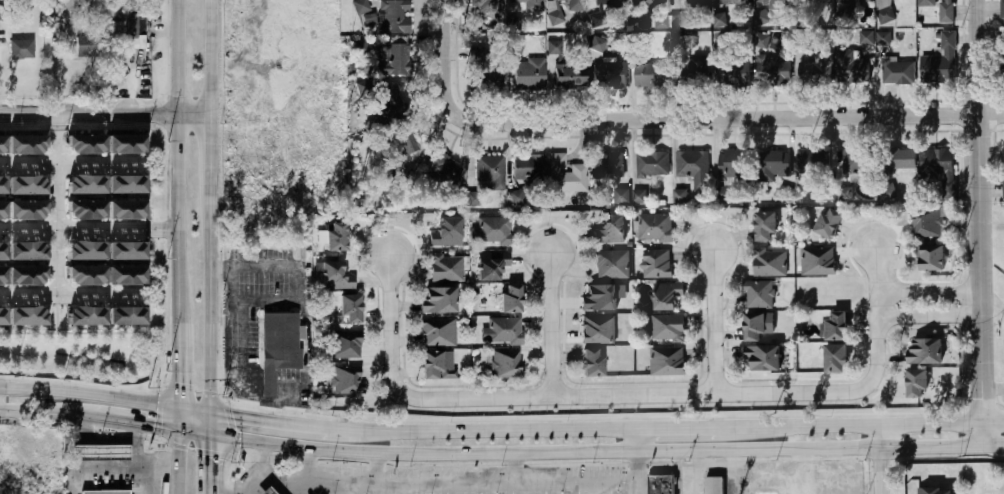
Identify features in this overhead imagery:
building: (645, 1)
building: (854, 1)
building: (609, 2)
building: (729, 2)
building: (772, 2)
building: (814, 2)
building: (529, 4)
building: (697, 4)
building: (487, 5)
building: (569, 5)
building: (361, 6)
building: (1002, 8)
building: (940, 9)
building: (884, 11)
building: (391, 17)
building: (763, 17)
road: (445, 18)
building: (720, 20)
building: (678, 21)
building: (514, 22)
building: (131, 32)
building: (867, 37)
building: (883, 38)
building: (596, 45)
building: (85, 46)
building: (555, 46)
building: (21, 49)
road: (210, 56)
building: (1002, 56)
building: (388, 60)
building: (940, 62)
building: (486, 66)
building: (696, 69)
building: (774, 71)
building: (855, 71)
building: (733, 72)
building: (898, 72)
building: (611, 74)
building: (823, 74)
building: (651, 75)
building: (529, 76)
building: (570, 76)
building: (364, 89)
building: (391, 102)
road: (105, 112)
road: (689, 119)
road: (54, 121)
building: (401, 140)
building: (2, 143)
building: (26, 143)
building: (127, 143)
building: (88, 144)
road: (209, 153)
building: (897, 159)
building: (812, 161)
building: (856, 162)
road: (68, 164)
building: (652, 164)
building: (612, 165)
road: (177, 166)
building: (734, 166)
building: (776, 166)
building: (692, 167)
building: (528, 168)
building: (490, 169)
building: (939, 169)
building: (443, 170)
building: (1003, 172)
building: (401, 174)
building: (560, 175)
building: (128, 183)
building: (3, 184)
building: (86, 184)
building: (29, 185)
building: (846, 193)
building: (887, 193)
building: (637, 195)
building: (517, 197)
building: (620, 197)
building: (679, 197)
building: (3, 209)
building: (27, 209)
building: (86, 209)
building: (128, 209)
road: (54, 213)
building: (829, 222)
building: (927, 222)
road: (981, 223)
building: (765, 226)
building: (654, 228)
building: (610, 229)
road: (72, 230)
road: (161, 230)
building: (492, 230)
building: (446, 233)
building: (337, 237)
building: (3, 250)
building: (27, 250)
building: (88, 250)
building: (129, 251)
building: (932, 257)
building: (817, 261)
building: (769, 263)
building: (492, 264)
building: (655, 264)
building: (611, 265)
building: (446, 268)
building: (3, 275)
building: (27, 275)
building: (87, 275)
building: (129, 275)
building: (336, 276)
building: (758, 294)
building: (667, 295)
road: (929, 295)
road: (68, 297)
building: (601, 297)
building: (511, 299)
building: (439, 300)
road: (208, 303)
building: (350, 308)
road: (876, 314)
building: (27, 315)
road: (57, 315)
building: (87, 315)
building: (126, 315)
building: (3, 316)
road: (929, 317)
road: (233, 322)
road: (714, 323)
road: (550, 324)
building: (837, 326)
building: (755, 327)
building: (667, 328)
building: (598, 330)
building: (504, 331)
building: (437, 332)
building: (278, 340)
building: (343, 346)
building: (925, 352)
road: (144, 357)
building: (763, 357)
building: (836, 359)
building: (592, 362)
building: (667, 362)
building: (506, 364)
building: (435, 366)
road: (178, 369)
building: (346, 380)
building: (267, 381)
building: (917, 384)
traffic signals: (179, 385)
road: (993, 390)
road: (4, 391)
road: (246, 395)
road: (94, 396)
road: (564, 397)
road: (282, 402)
road: (4, 407)
road: (39, 412)
traffic signals: (230, 416)
road: (178, 418)
road: (139, 423)
road: (207, 423)
road: (290, 423)
road: (882, 424)
traffic signals: (165, 427)
road: (698, 427)
road: (518, 428)
road: (635, 439)
road: (84, 442)
road: (108, 444)
road: (133, 445)
traffic signals: (207, 449)
road: (605, 451)
building: (98, 453)
gas station: (98, 453)
road: (881, 459)
road: (262, 460)
road: (178, 461)
road: (762, 463)
road: (800, 463)
road: (833, 463)
road: (207, 464)
road: (130, 468)
road: (376, 468)
road: (709, 468)
road: (300, 470)
road: (636, 472)
road: (678, 472)
road: (810, 477)
road: (740, 480)
road: (149, 481)
road: (686, 481)
road: (437, 484)
building: (659, 484)
building: (712, 484)
road: (543, 488)
road: (576, 488)
road: (609, 488)
road: (348, 489)
road: (383, 489)
road: (416, 489)
road: (447, 489)
road: (479, 489)
road: (511, 489)
building: (265, 491)
building: (937, 491)
building: (104, 492)

